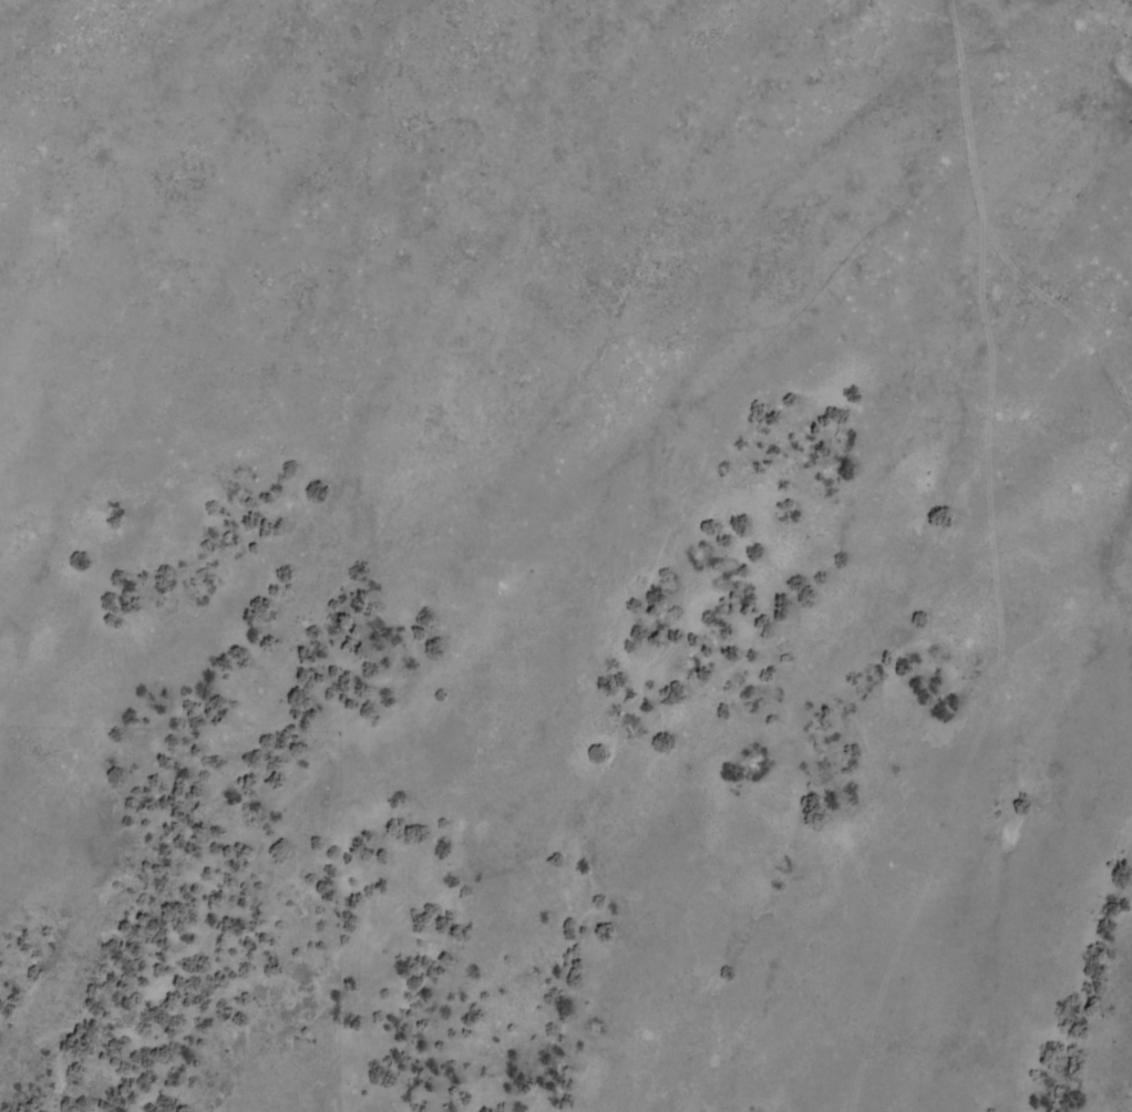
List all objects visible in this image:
road: (977, 570)

